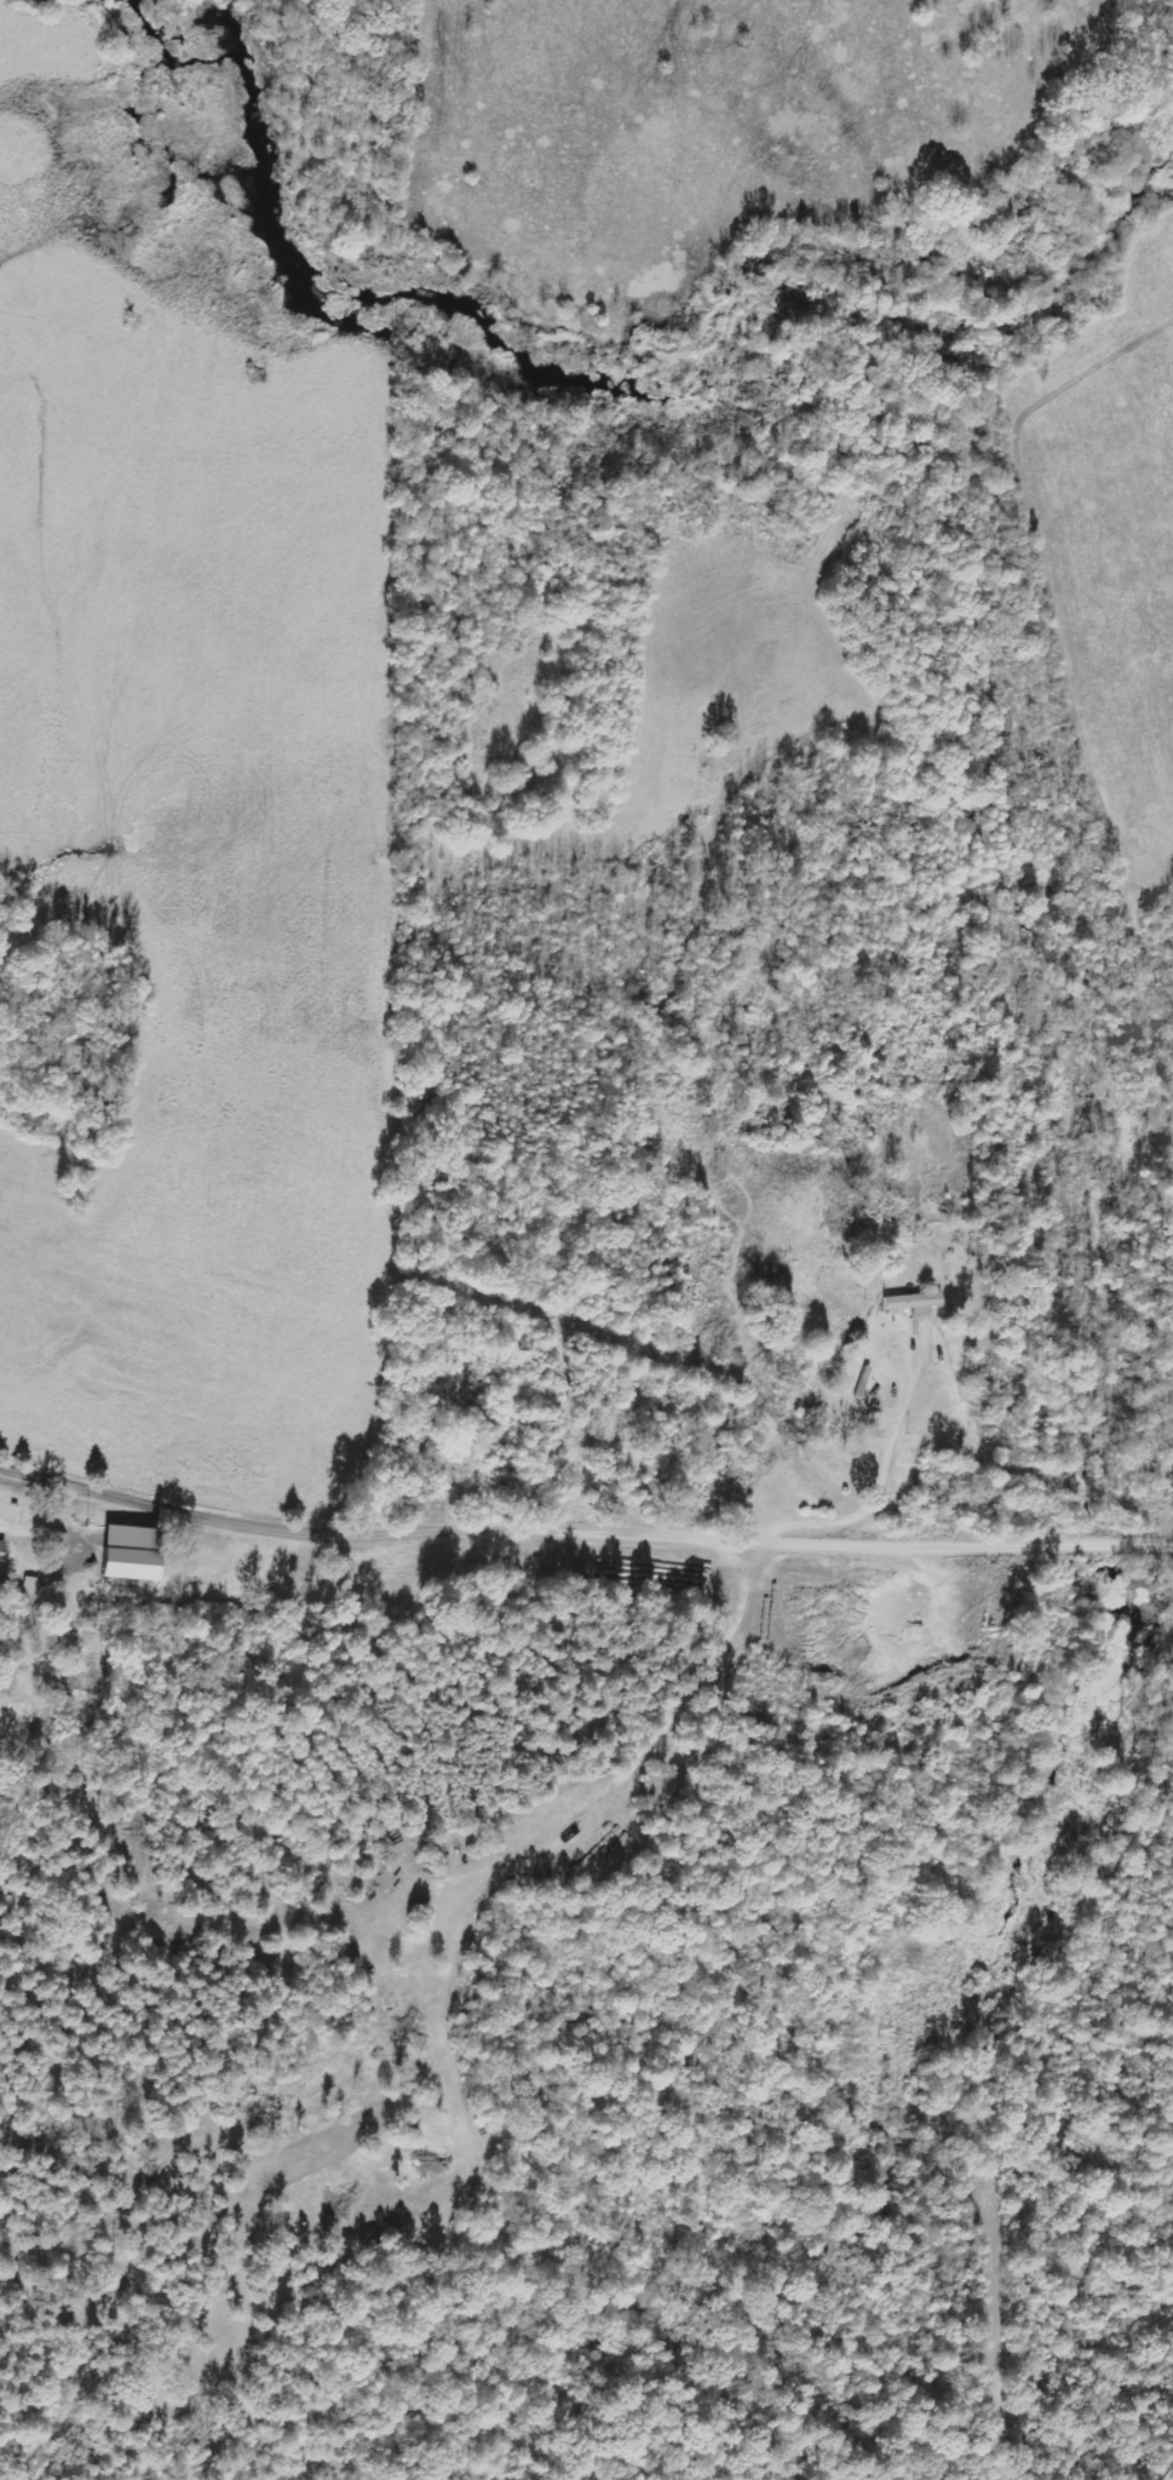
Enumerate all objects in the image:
building: (913, 1303)
road: (582, 1535)
building: (1, 1552)
building: (126, 1554)
road: (1156, 1566)
building: (29, 1585)

